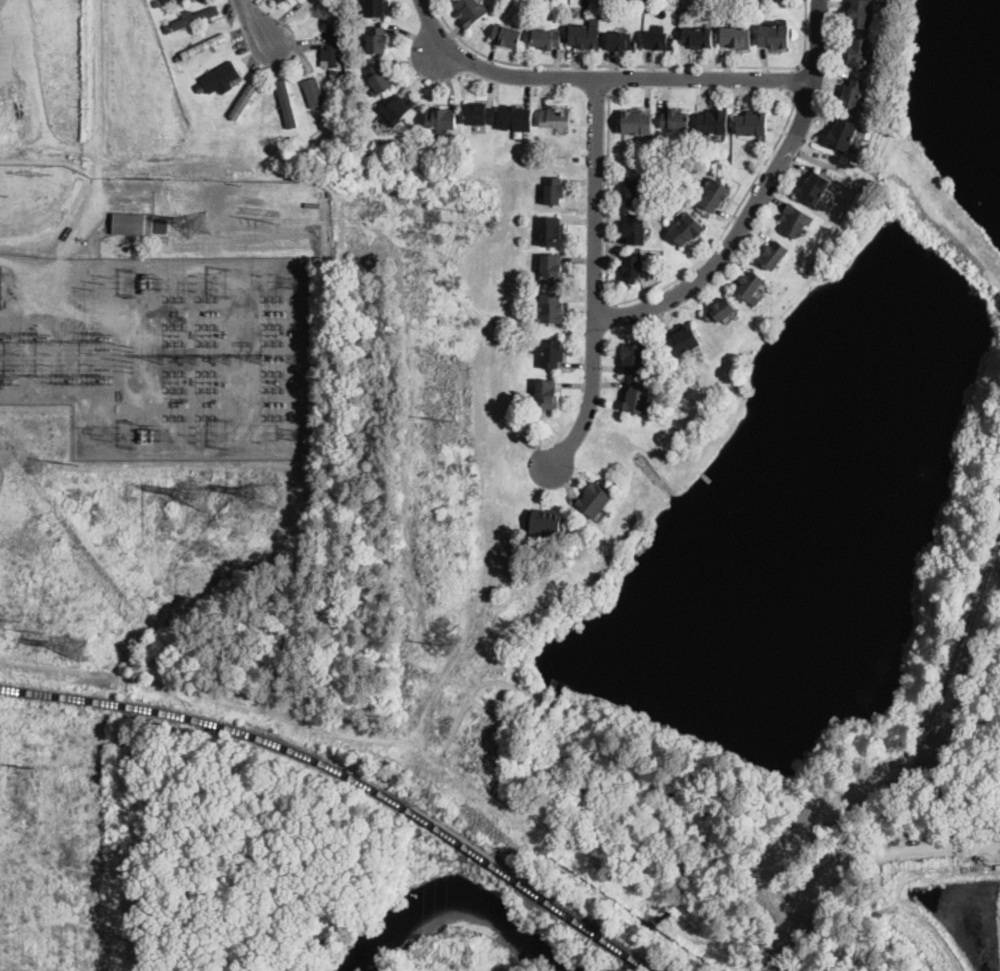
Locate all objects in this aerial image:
building: (166, 0)
building: (170, 0)
building: (281, 1)
building: (157, 2)
building: (332, 3)
building: (377, 8)
building: (472, 12)
building: (860, 14)
building: (196, 17)
road: (257, 25)
building: (168, 29)
building: (507, 36)
building: (584, 36)
building: (774, 36)
building: (698, 37)
building: (735, 37)
building: (548, 39)
building: (378, 40)
building: (659, 40)
building: (621, 41)
building: (204, 45)
building: (333, 45)
building: (858, 52)
building: (177, 57)
road: (637, 64)
road: (96, 72)
building: (334, 72)
building: (221, 75)
road: (599, 77)
building: (379, 79)
road: (796, 79)
building: (200, 87)
landfill: (80, 89)
building: (316, 91)
building: (852, 94)
building: (243, 100)
building: (287, 102)
building: (401, 110)
building: (480, 114)
building: (556, 117)
building: (443, 118)
building: (518, 119)
building: (675, 119)
building: (636, 122)
building: (713, 122)
building: (752, 124)
building: (841, 134)
building: (290, 139)
building: (726, 156)
building: (577, 159)
power tower: (40, 175)
building: (834, 186)
building: (814, 188)
building: (223, 189)
building: (554, 190)
building: (635, 191)
building: (713, 195)
road: (757, 200)
power tower: (277, 220)
power tower: (448, 220)
building: (795, 220)
power tower: (194, 223)
building: (133, 224)
building: (161, 226)
building: (633, 229)
building: (687, 229)
building: (552, 231)
building: (773, 254)
building: (552, 269)
building: (631, 269)
road: (593, 277)
power tower: (103, 282)
power tower: (134, 282)
building: (750, 285)
building: (0, 289)
road: (648, 291)
building: (553, 308)
building: (720, 311)
power tower: (103, 340)
building: (683, 340)
power tower: (41, 342)
power substation: (161, 351)
building: (553, 353)
building: (635, 358)
power tower: (11, 378)
power tower: (72, 378)
power tower: (104, 380)
building: (548, 394)
building: (637, 397)
power tower: (446, 419)
power tower: (104, 434)
power tower: (133, 434)
power tower: (70, 463)
power tower: (262, 493)
power tower: (197, 494)
building: (593, 499)
building: (546, 522)
power tower: (35, 629)
power tower: (71, 645)
power tower: (442, 645)
park: (818, 656)
power tower: (29, 763)
park: (481, 923)
park: (582, 967)

